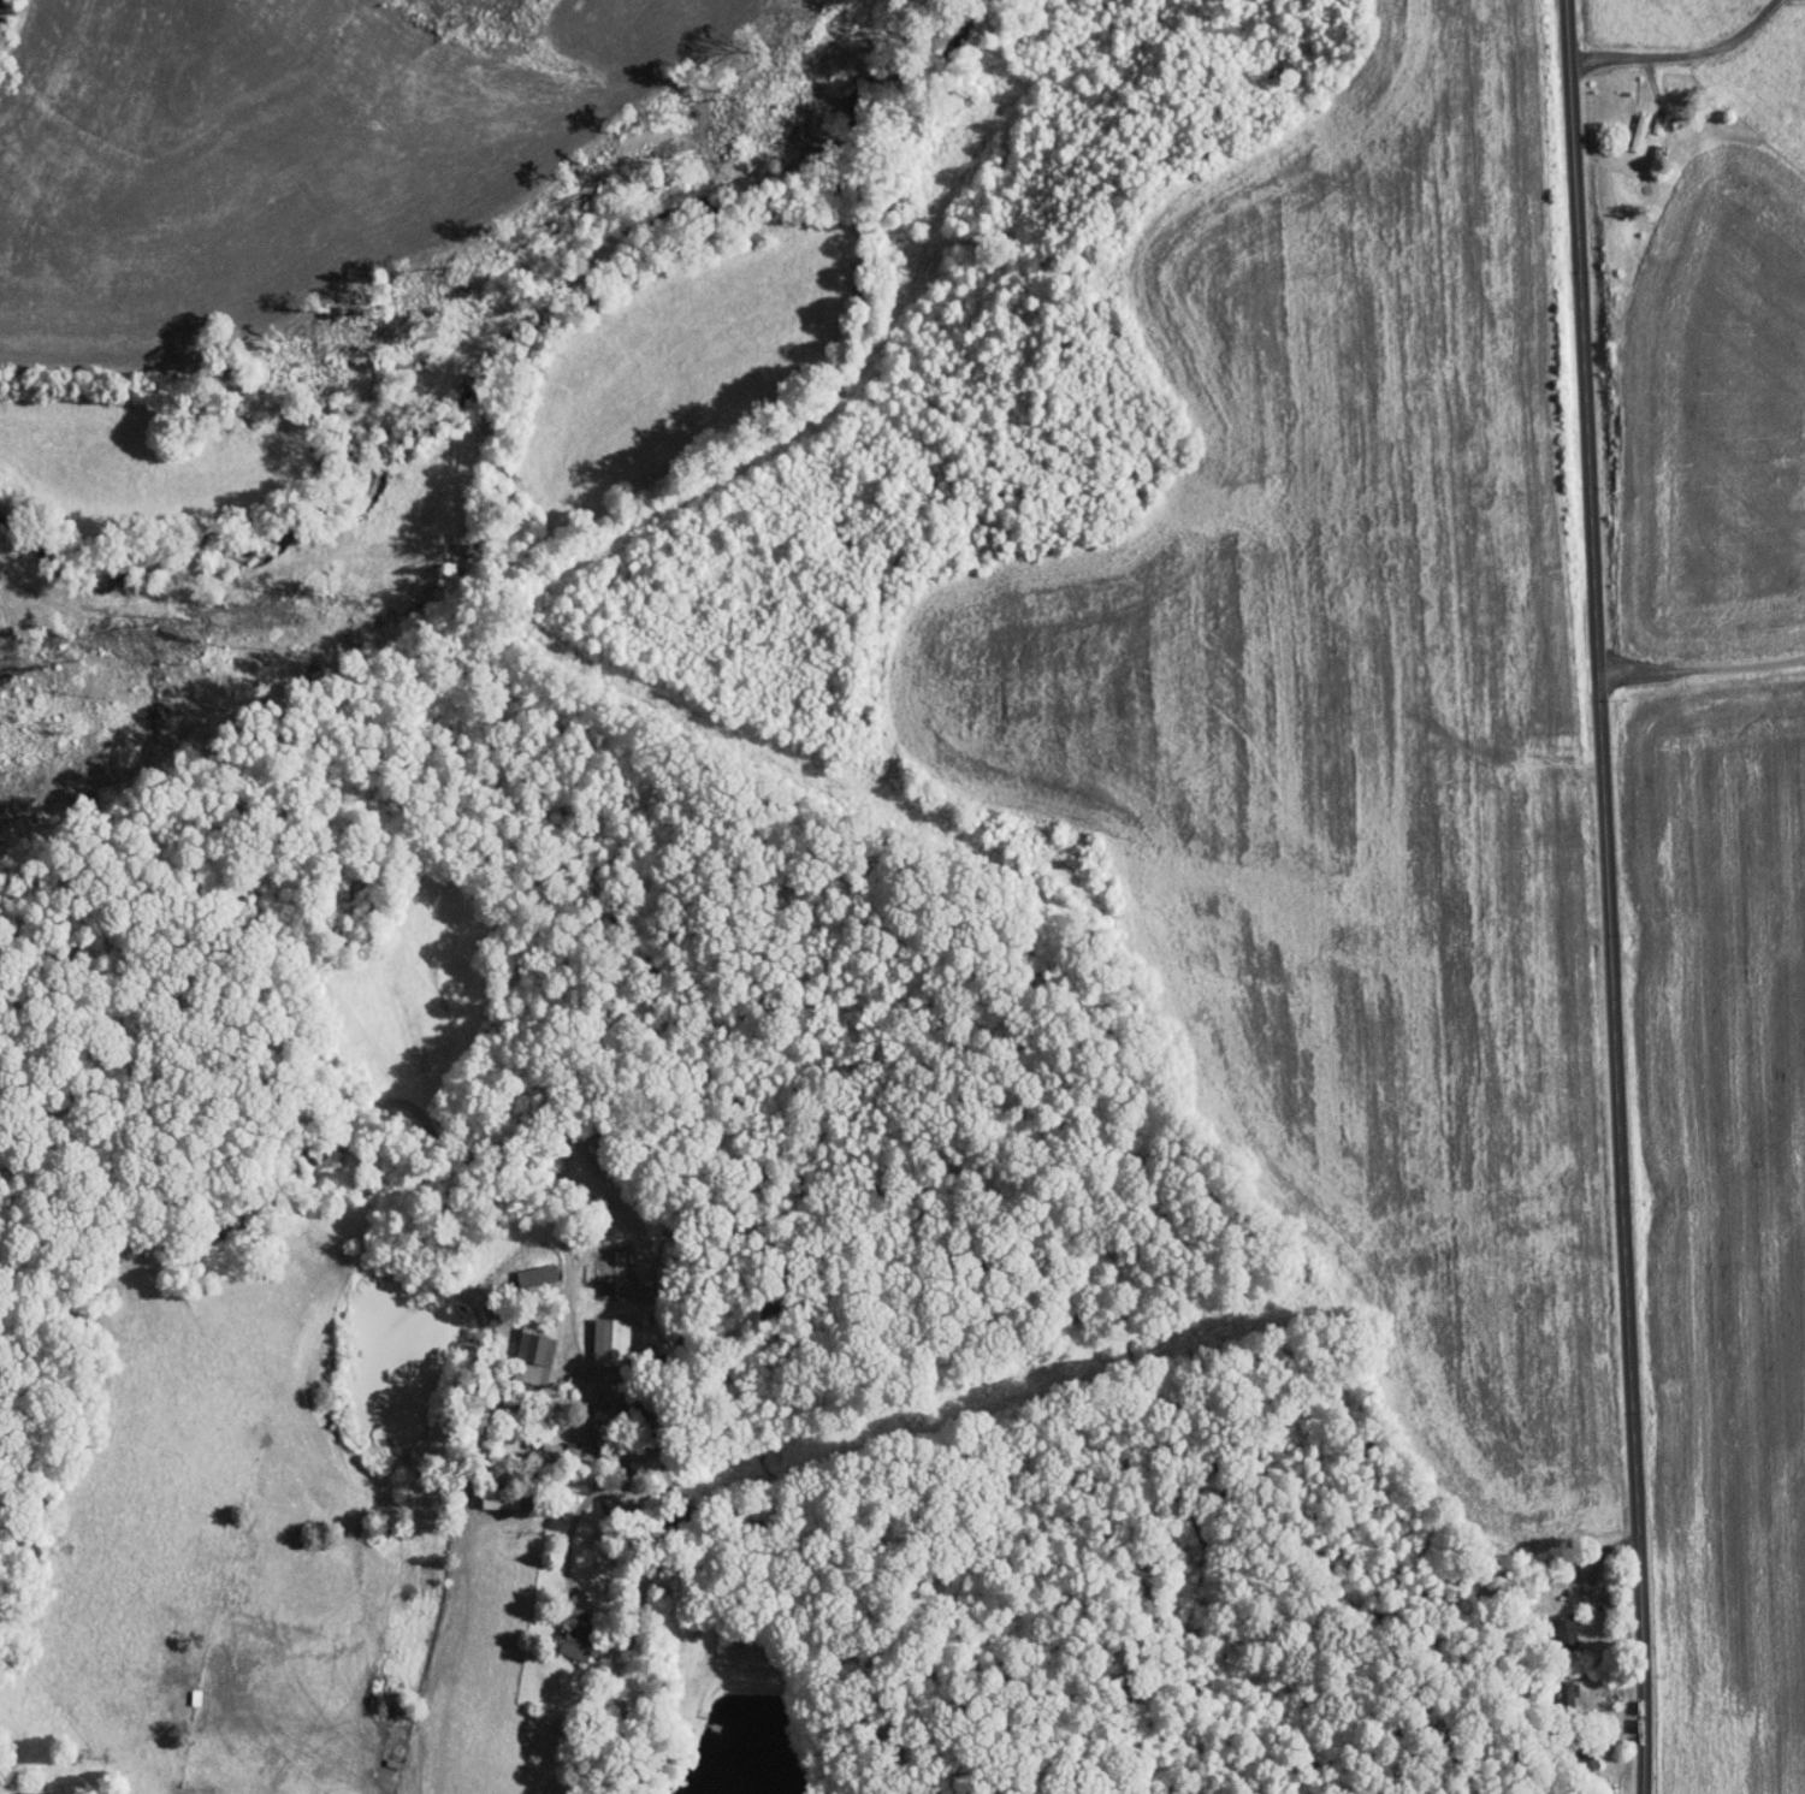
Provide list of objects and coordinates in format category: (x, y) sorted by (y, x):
road: (1677, 53)
building: (1635, 131)
road: (1659, 184)
road: (1700, 669)
road: (1484, 754)
road: (1608, 896)
building: (615, 1340)
building: (538, 1356)
building: (631, 1473)
building: (580, 1601)
road: (1600, 1606)
building: (580, 1645)
road: (561, 1727)
road: (1602, 1727)
road: (1620, 1774)

